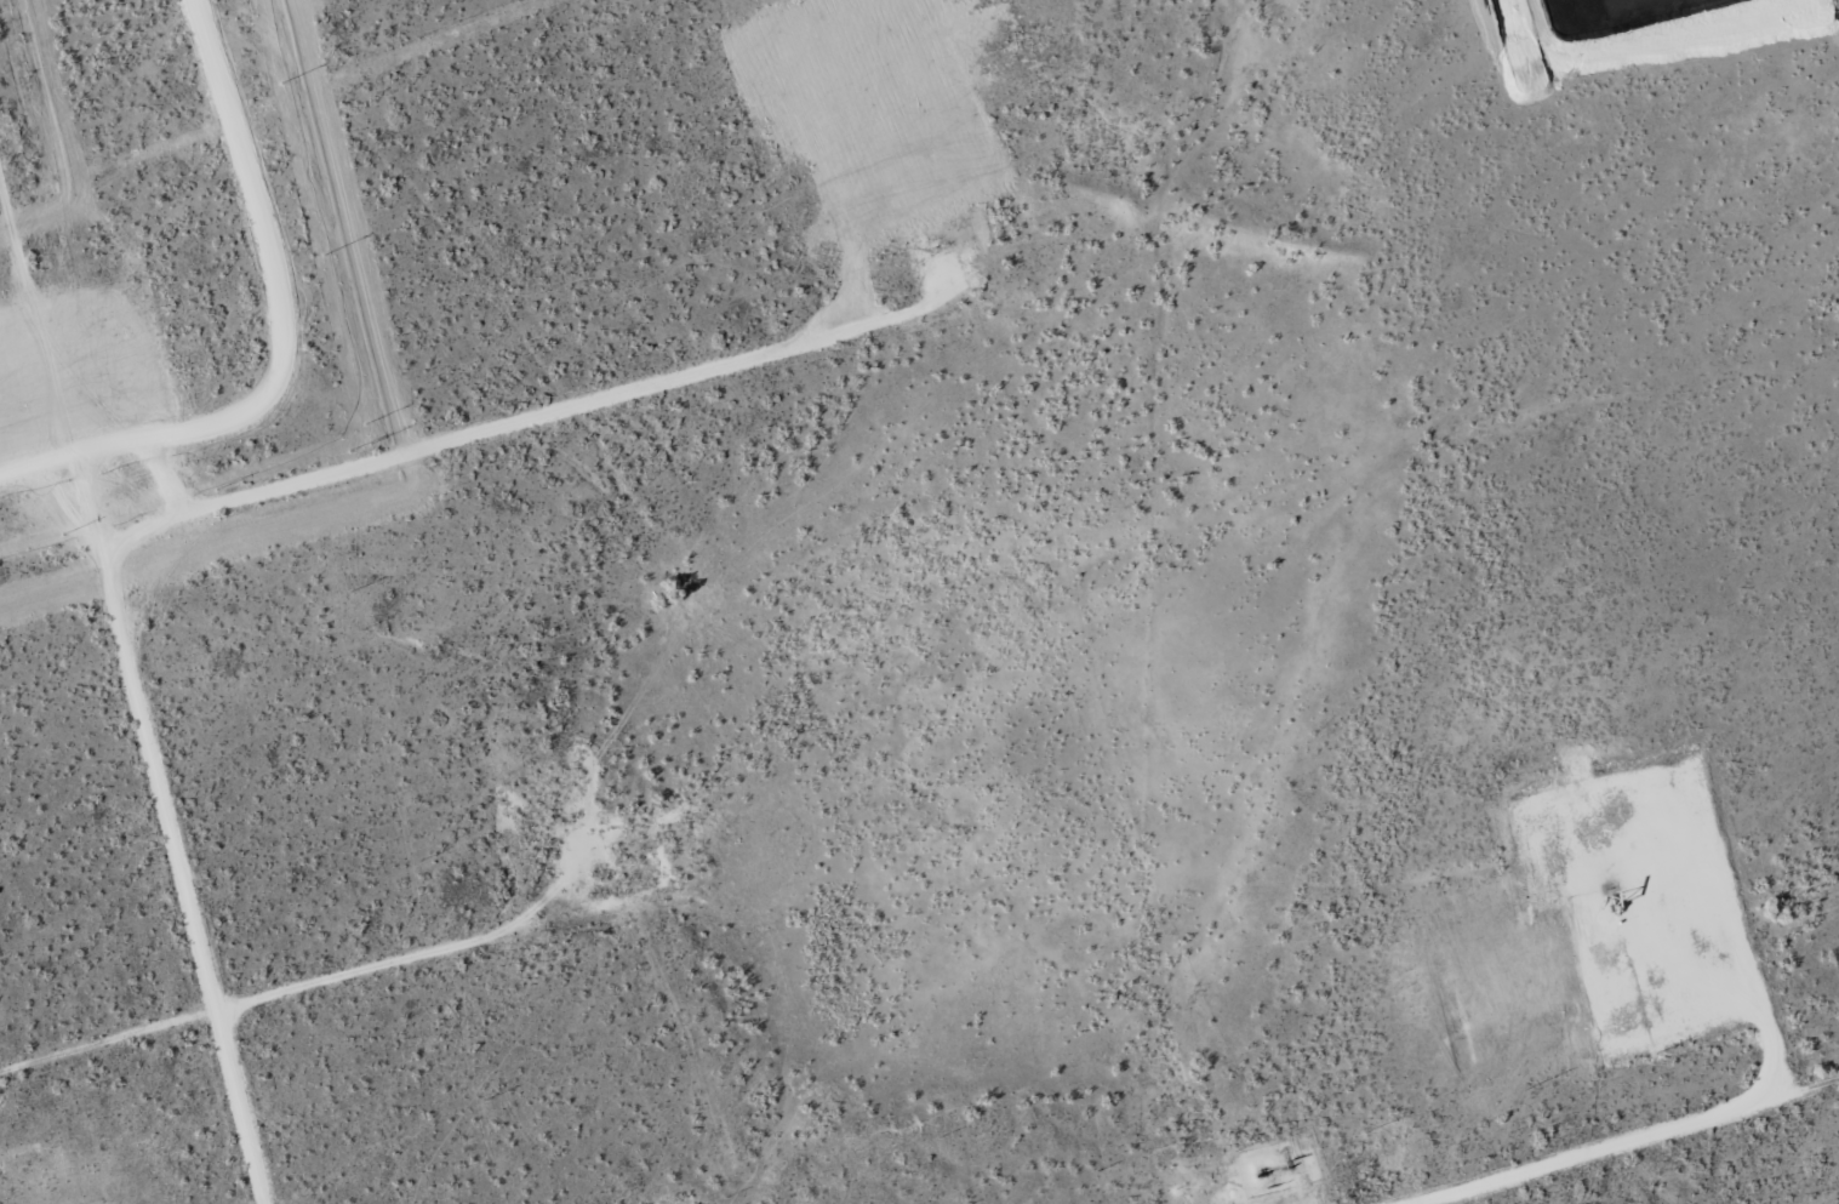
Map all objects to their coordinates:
road: (508, 432)
road: (153, 661)
road: (1594, 1135)

